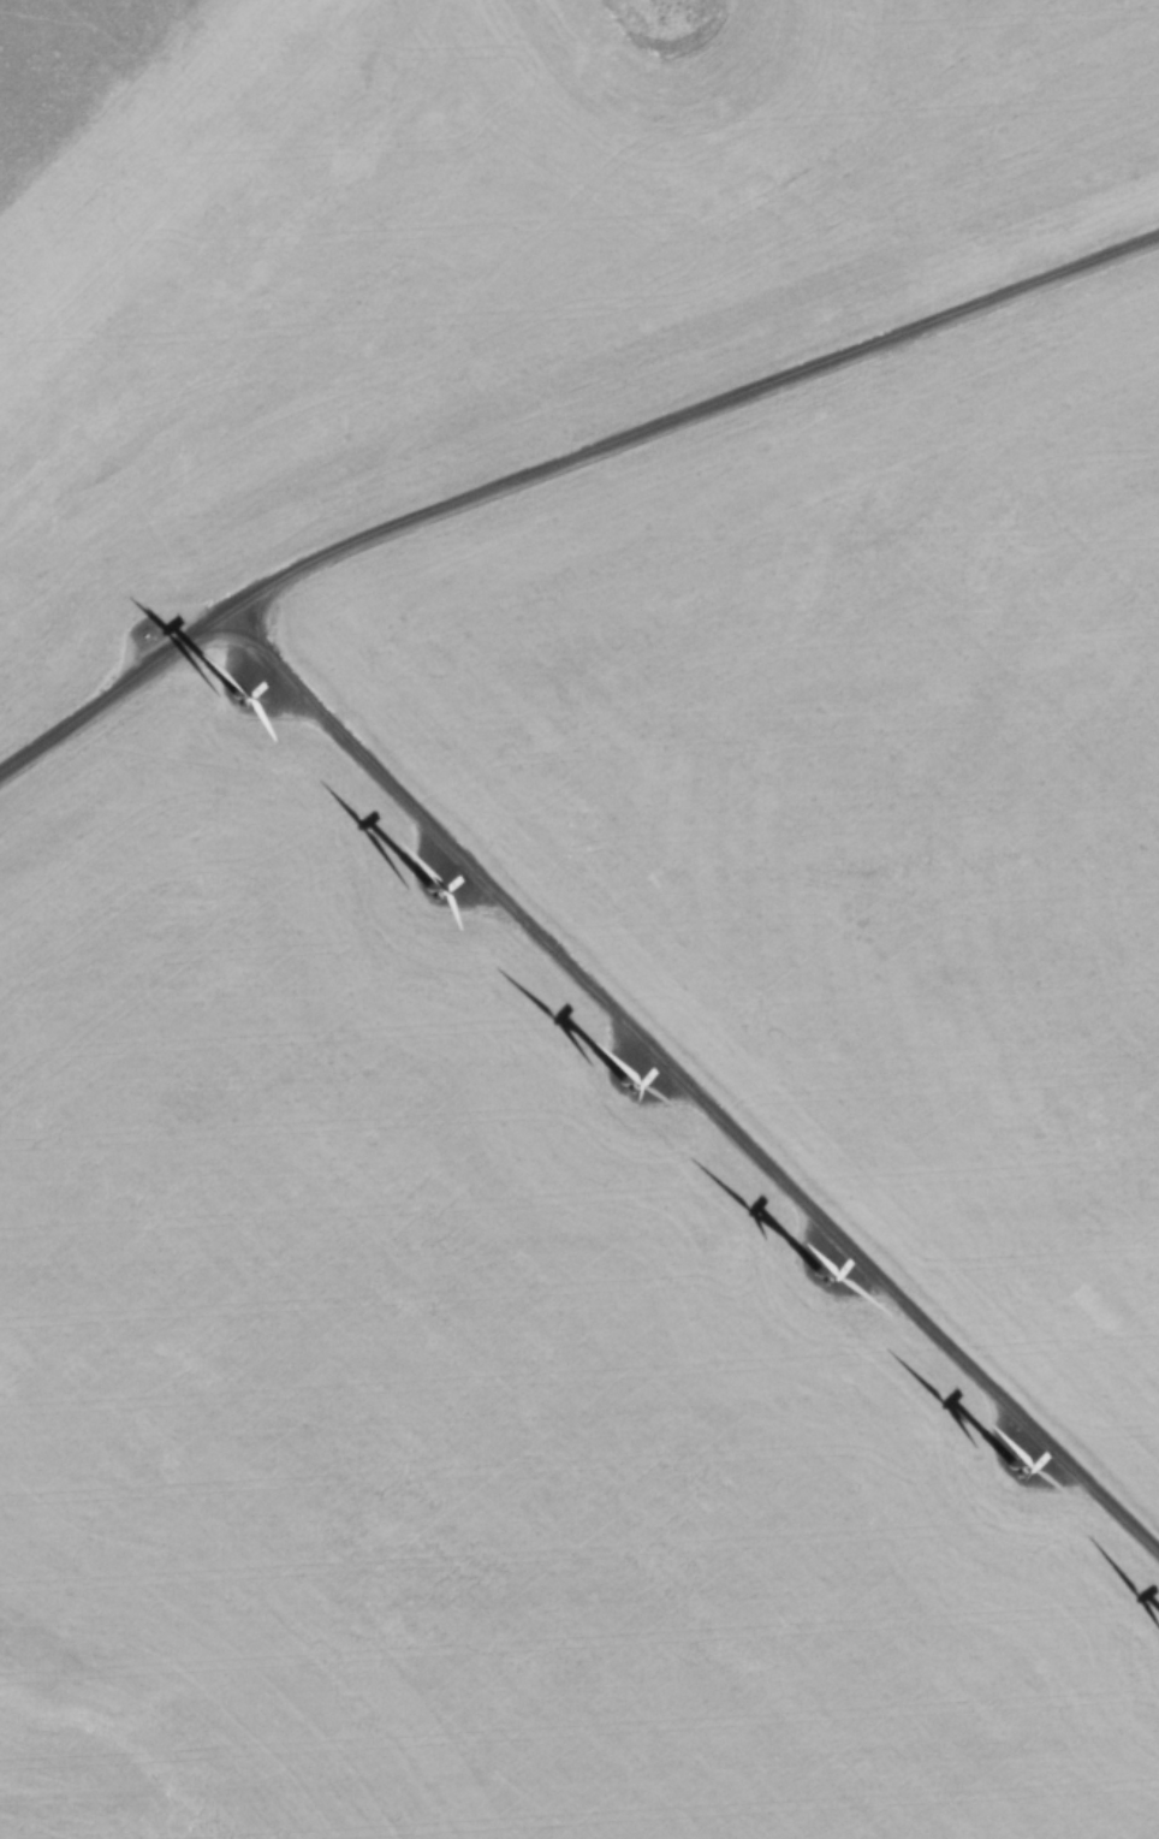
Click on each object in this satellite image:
road: (559, 469)
wind turbine: (242, 698)
wind turbine: (445, 891)
road: (696, 1084)
wind turbine: (614, 1090)
wind turbine: (798, 1277)
wind turbine: (1000, 1476)

